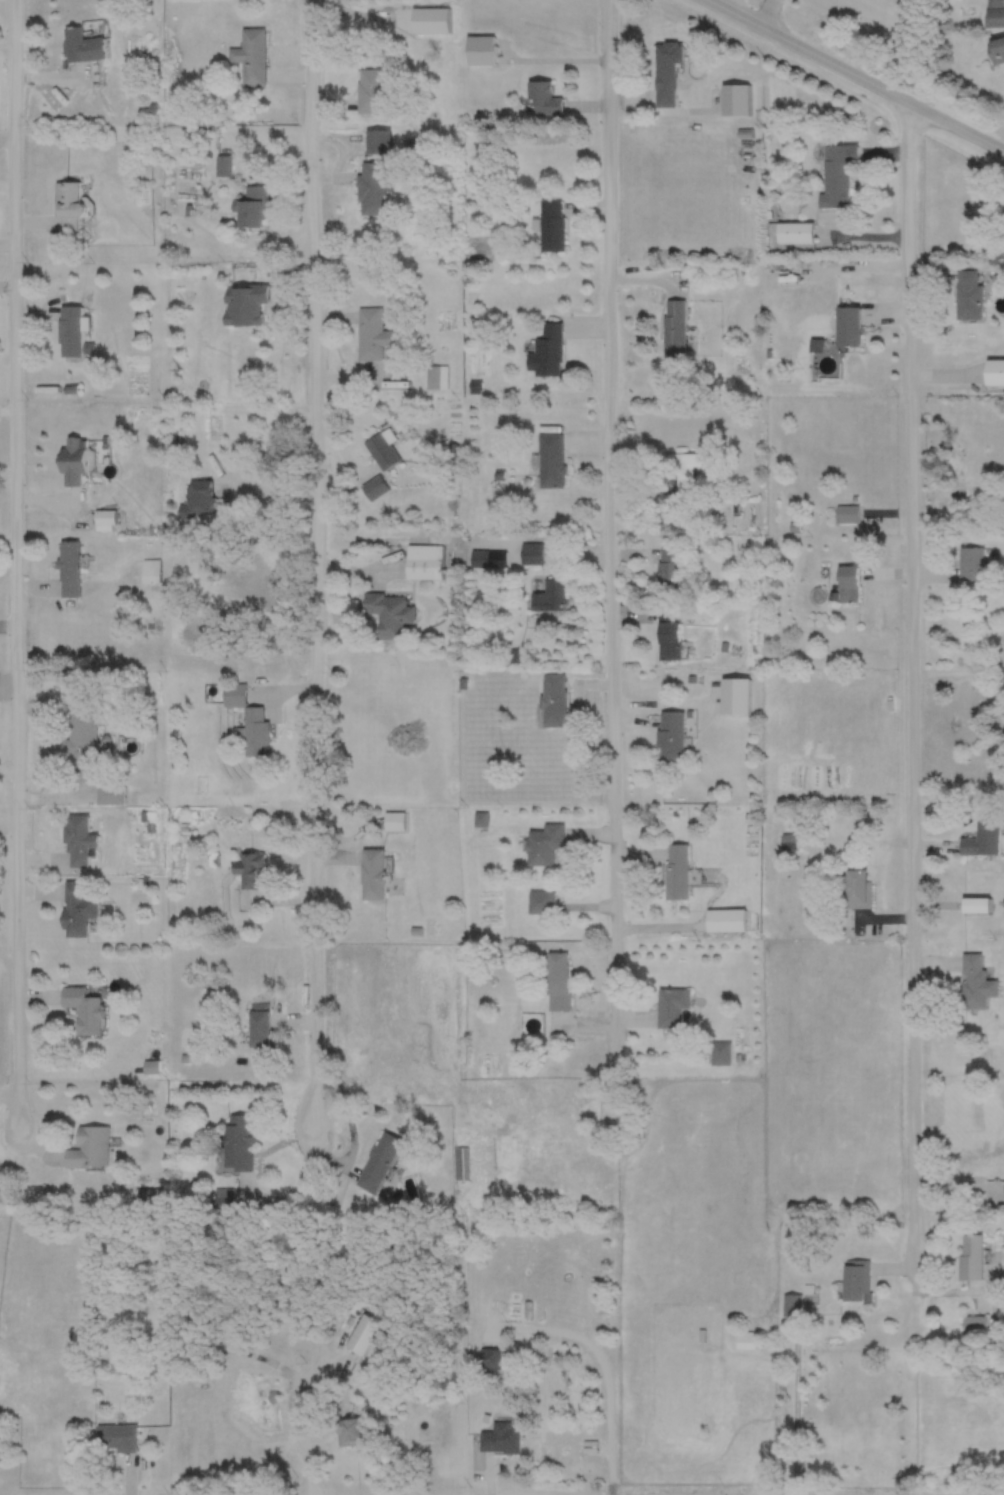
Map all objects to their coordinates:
road: (738, 9)
building: (996, 13)
road: (767, 15)
building: (83, 46)
building: (997, 51)
building: (250, 56)
building: (665, 62)
road: (853, 77)
building: (370, 91)
building: (665, 96)
building: (544, 100)
building: (378, 142)
building: (836, 175)
building: (372, 188)
building: (68, 206)
building: (254, 207)
building: (552, 226)
building: (795, 233)
building: (968, 295)
building: (246, 305)
building: (849, 327)
building: (674, 329)
building: (72, 333)
building: (373, 334)
building: (546, 352)
building: (995, 372)
building: (383, 449)
building: (551, 460)
building: (73, 462)
building: (681, 470)
building: (199, 497)
building: (846, 513)
building: (105, 520)
building: (532, 553)
building: (478, 558)
road: (613, 559)
road: (313, 560)
building: (423, 562)
building: (971, 563)
road: (15, 566)
building: (70, 568)
building: (669, 568)
building: (150, 571)
building: (849, 584)
building: (550, 595)
building: (389, 614)
building: (669, 634)
road: (912, 689)
building: (554, 700)
building: (247, 721)
building: (671, 737)
building: (82, 745)
building: (110, 794)
building: (393, 821)
building: (982, 839)
building: (79, 841)
building: (788, 841)
building: (544, 845)
building: (250, 870)
building: (678, 871)
building: (373, 874)
building: (857, 889)
building: (541, 902)
building: (976, 906)
building: (77, 909)
building: (727, 920)
building: (557, 981)
building: (975, 983)
building: (673, 1007)
building: (84, 1009)
building: (258, 1029)
building: (721, 1053)
building: (150, 1067)
building: (238, 1142)
building: (90, 1147)
building: (379, 1162)
building: (971, 1257)
building: (855, 1280)
building: (792, 1304)
building: (975, 1324)
building: (367, 1334)
building: (746, 1340)
building: (191, 1347)
building: (491, 1359)
road: (605, 1369)
road: (302, 1422)
building: (352, 1432)
building: (116, 1437)
building: (503, 1439)

